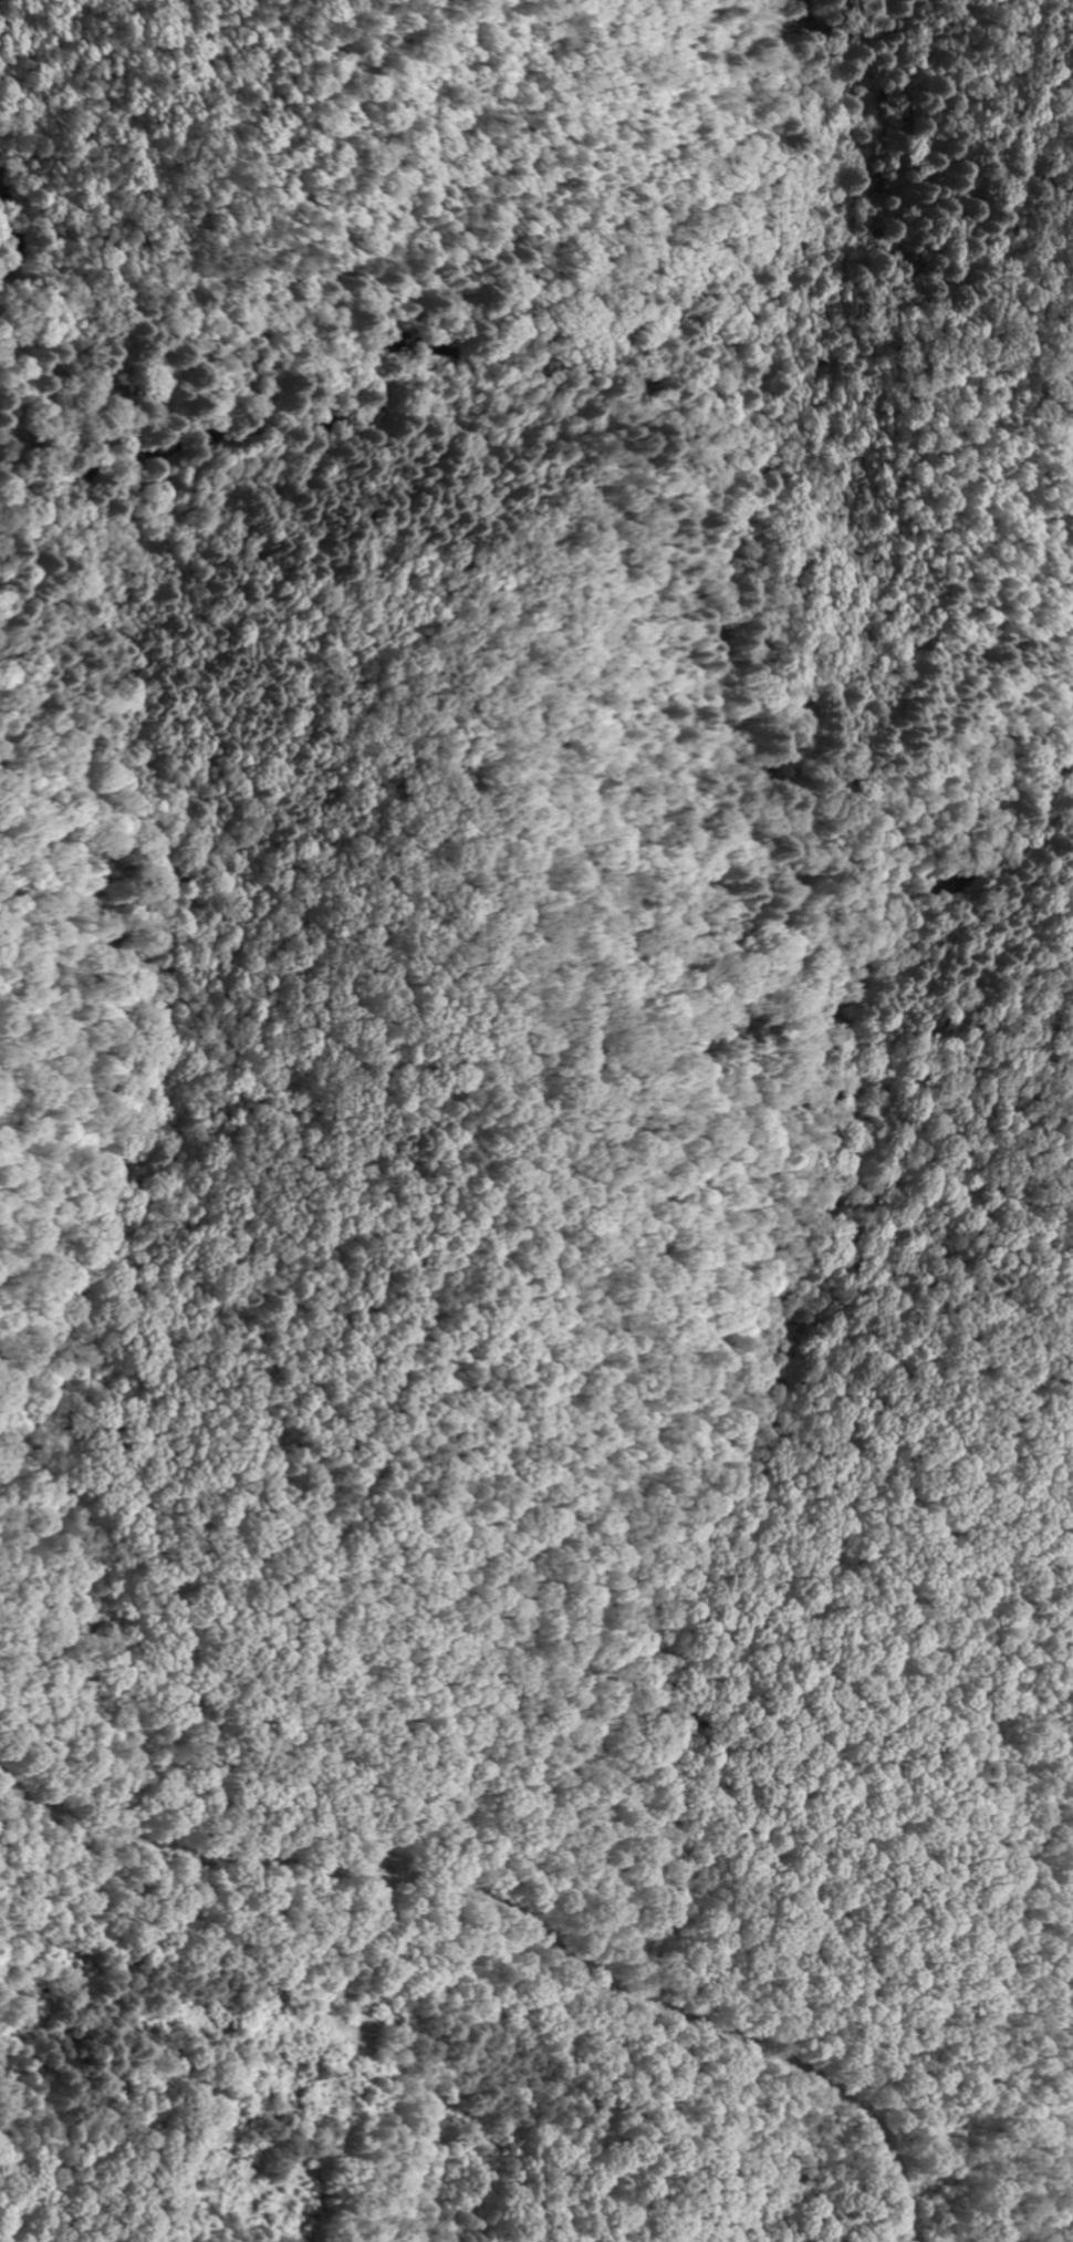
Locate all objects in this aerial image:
road: (517, 1916)

